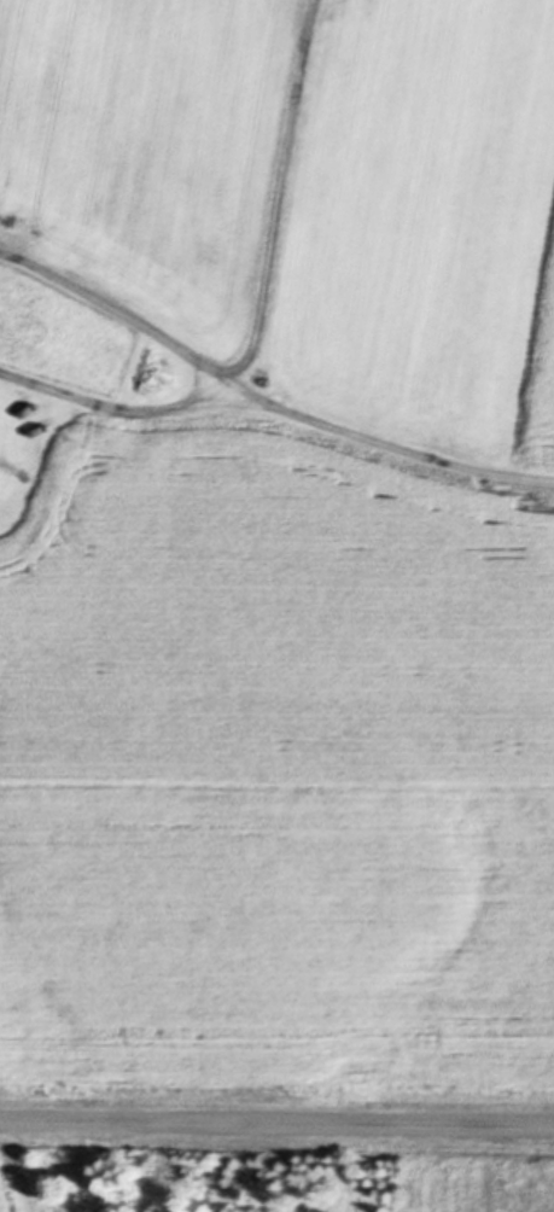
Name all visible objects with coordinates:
road: (276, 1120)

